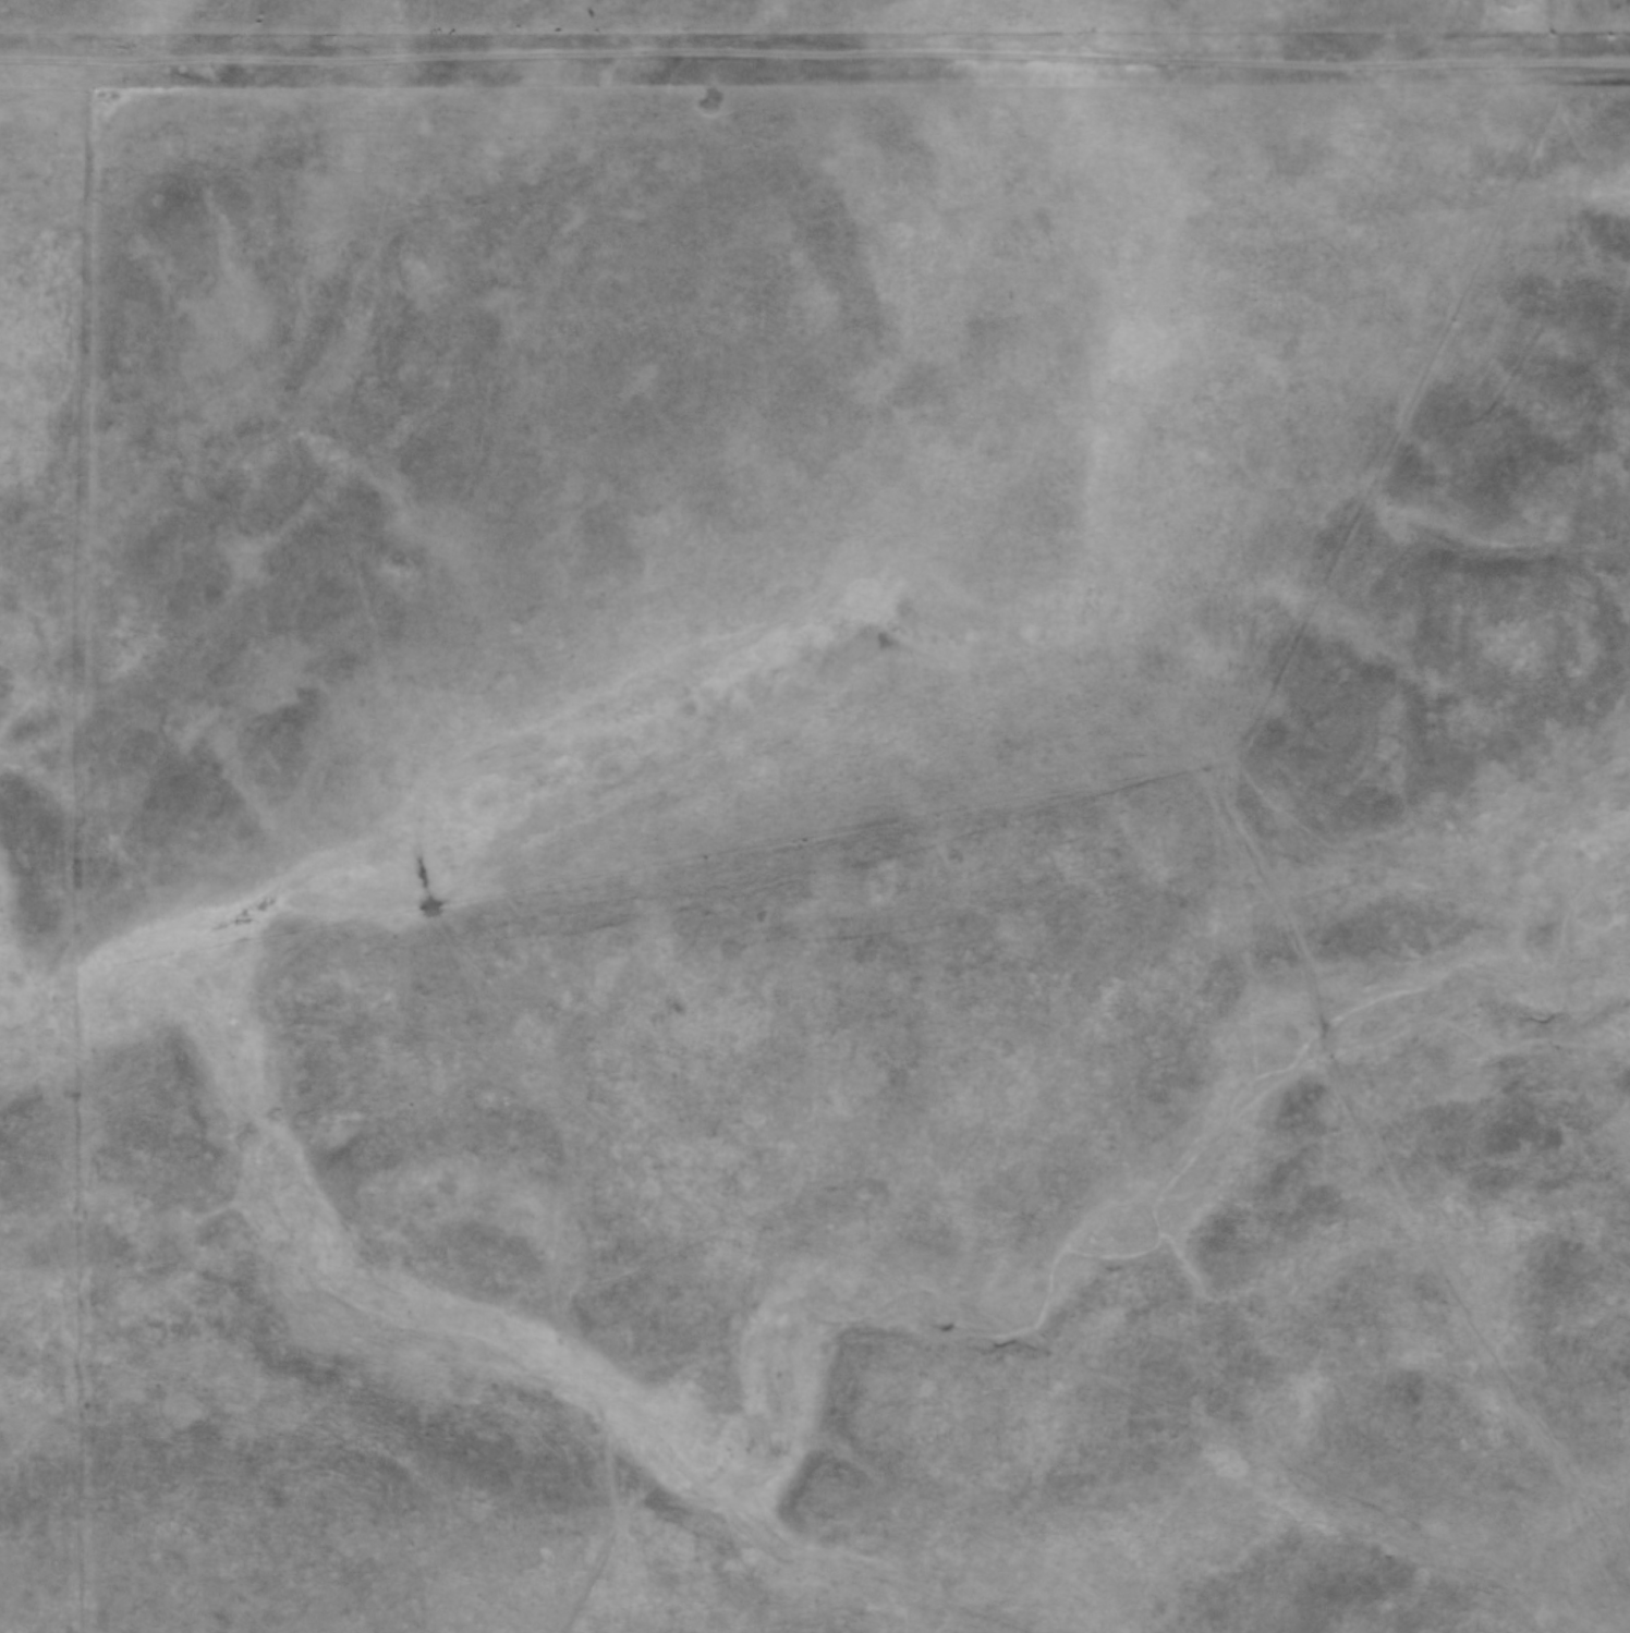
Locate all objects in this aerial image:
quarry: (1569, 14)
road: (815, 54)

